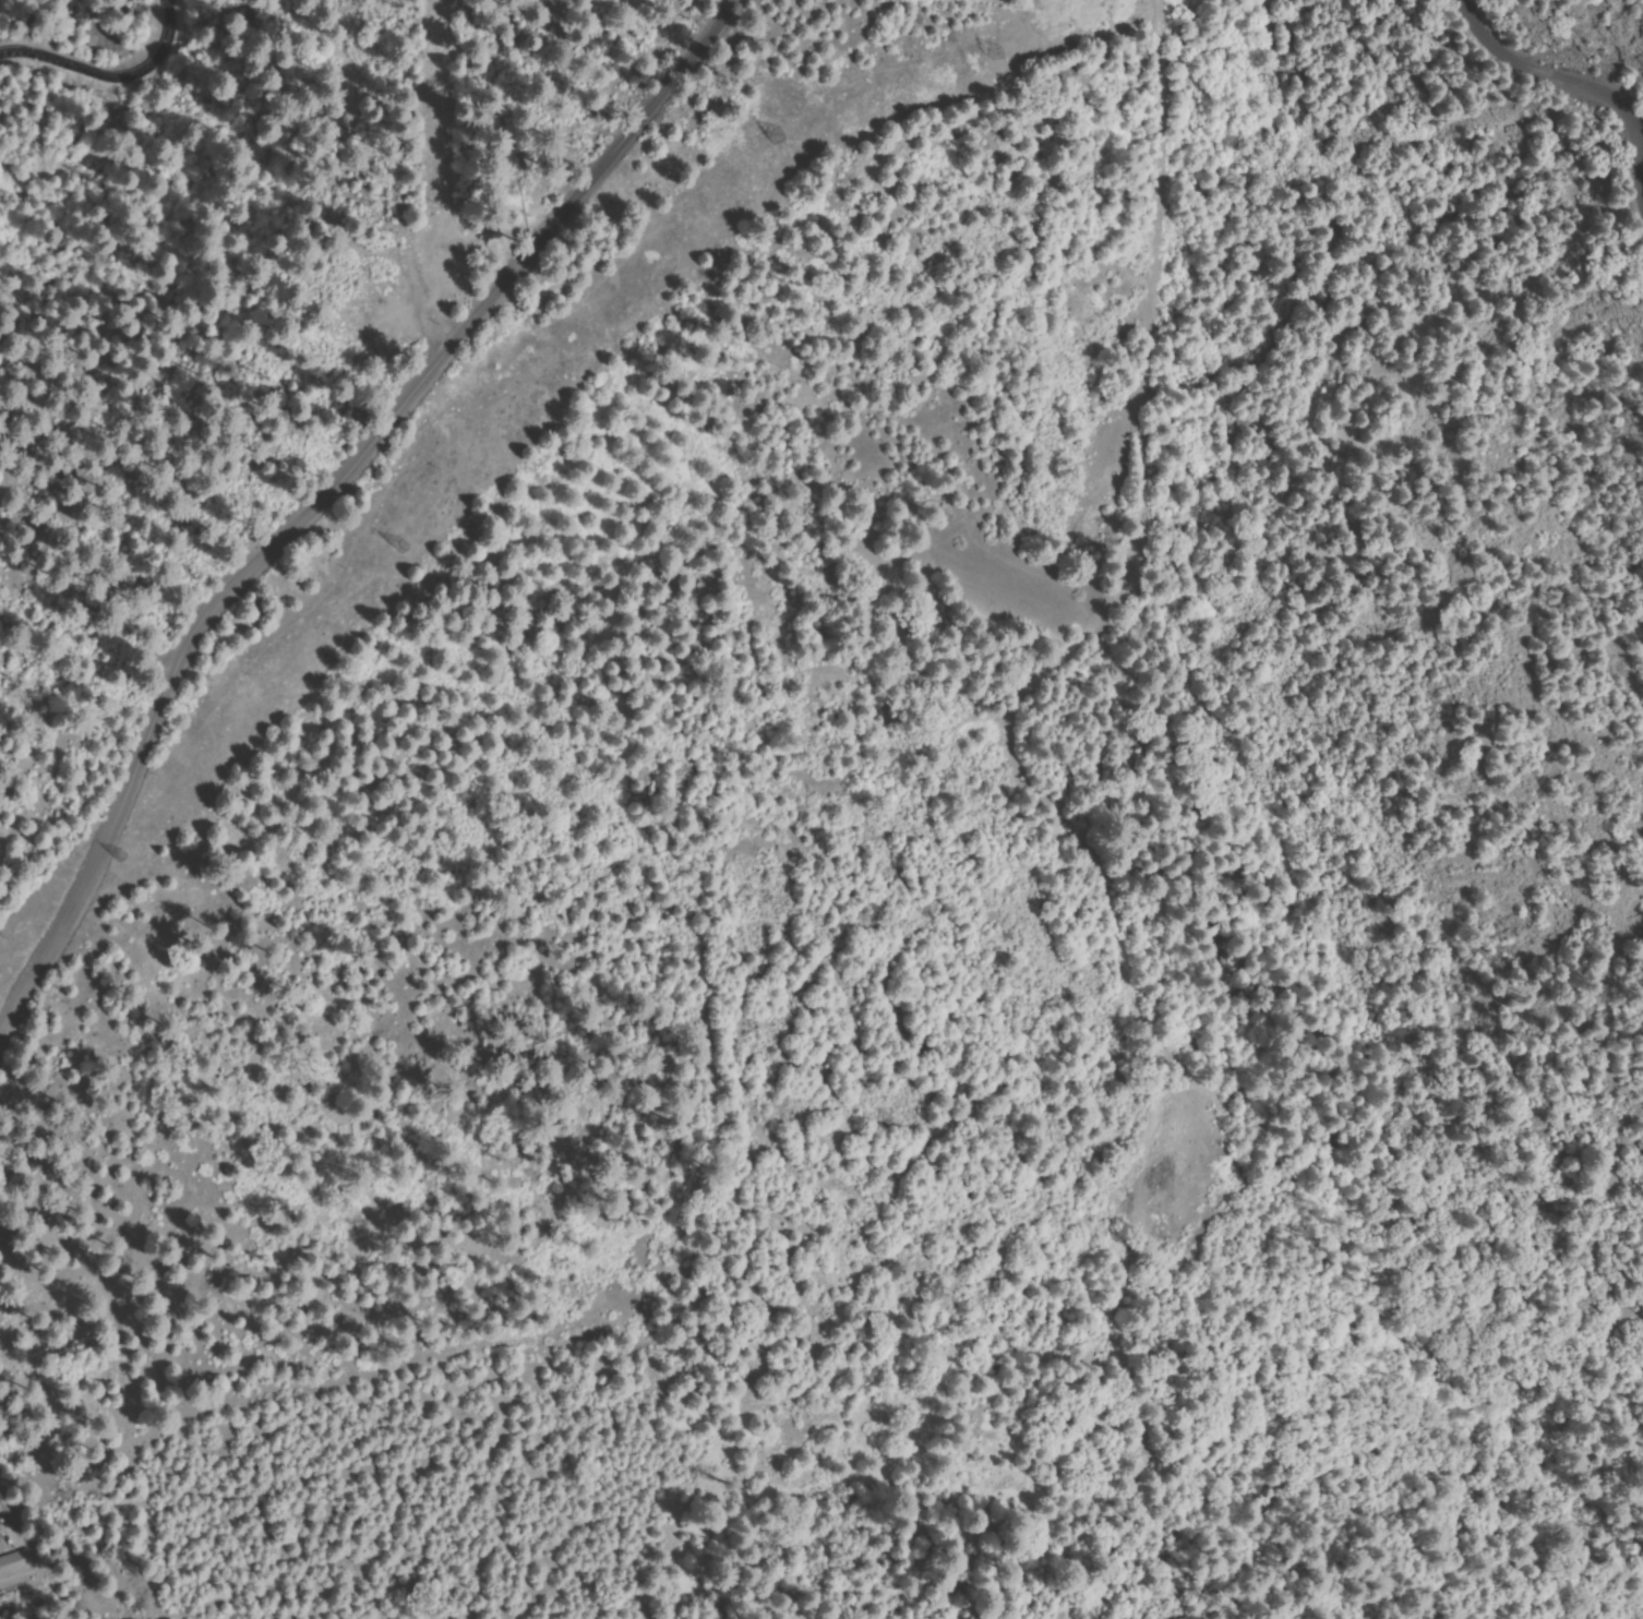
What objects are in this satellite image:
power tower: (993, 56)
road: (1538, 98)
power tower: (775, 139)
road: (340, 398)
power tower: (398, 550)
power tower: (122, 860)
building: (16, 1562)

